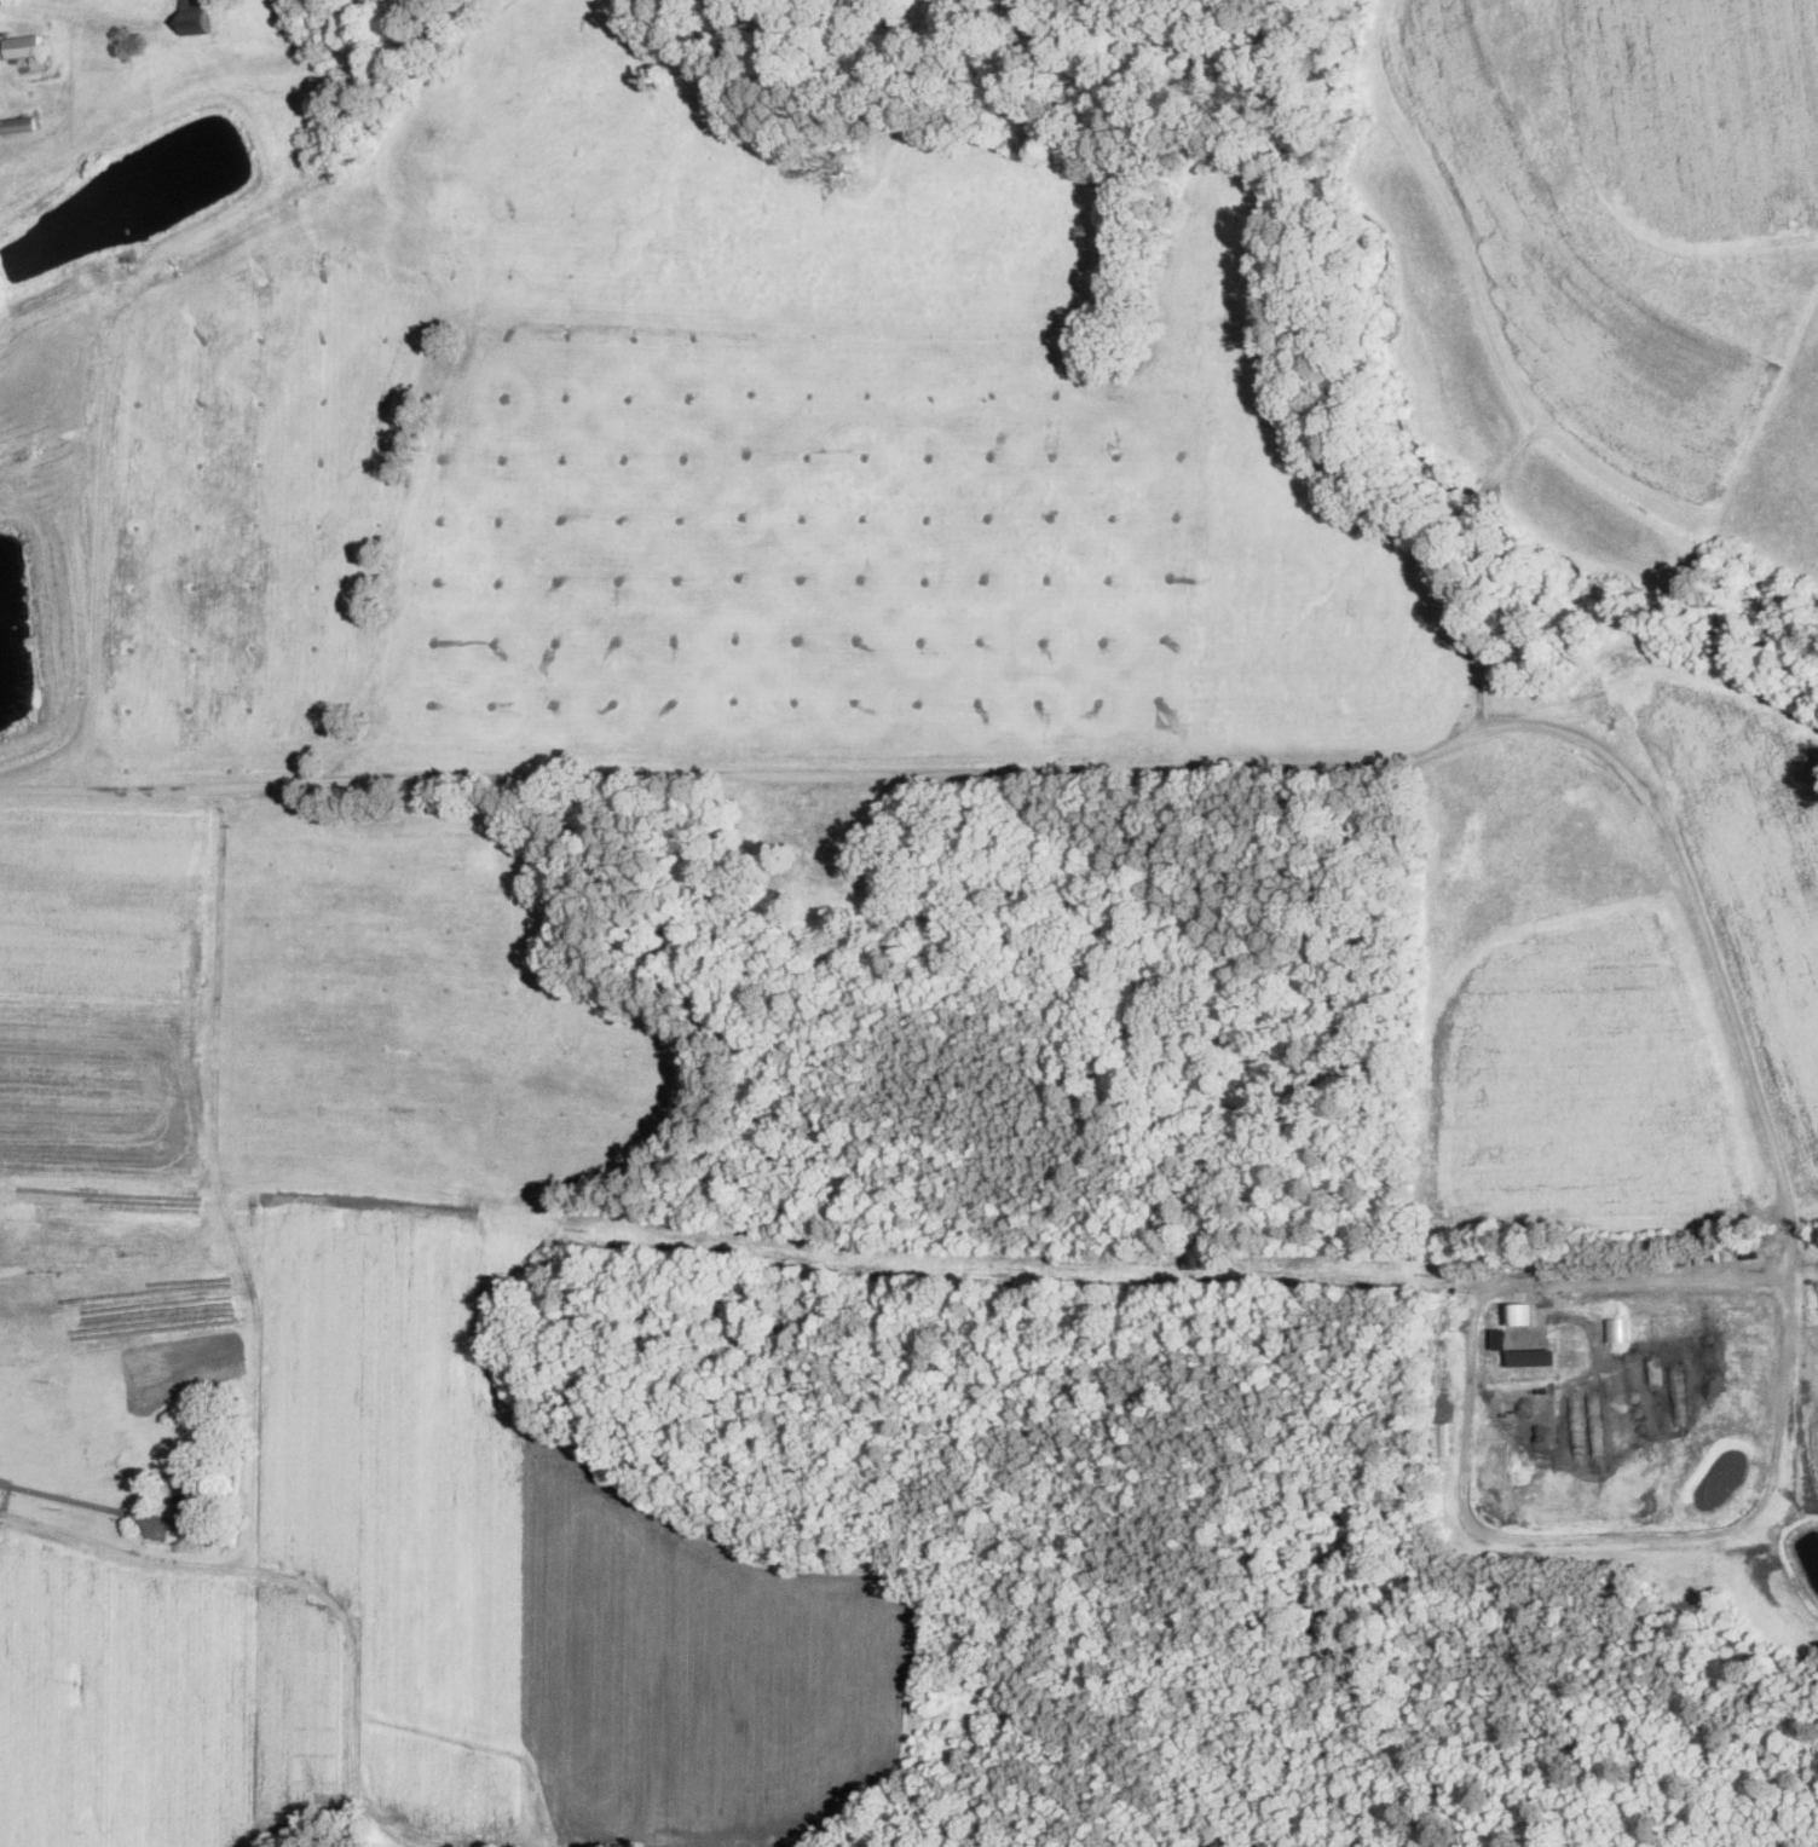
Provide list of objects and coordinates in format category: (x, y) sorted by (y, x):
building: (196, 17)
road: (76, 18)
building: (24, 46)
building: (21, 125)
crop: (988, 710)
road: (1089, 773)
road: (1474, 1306)
building: (1520, 1312)
building: (1617, 1328)
building: (1533, 1356)
building: (195, 1410)
road: (1768, 1490)
building: (190, 1499)
road: (81, 1500)
road: (266, 1575)

